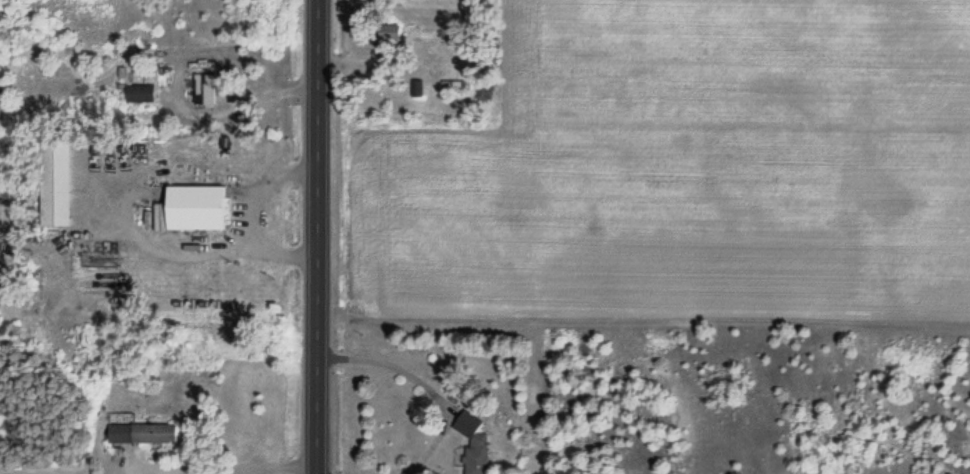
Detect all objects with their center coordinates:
building: (204, 86)
building: (452, 88)
building: (139, 94)
building: (59, 184)
building: (197, 208)
road: (314, 237)
building: (143, 434)
building: (477, 454)

